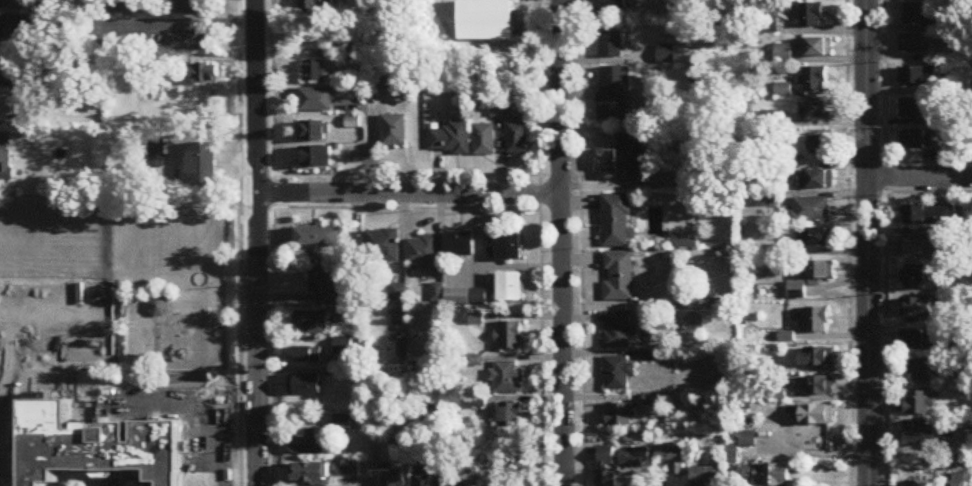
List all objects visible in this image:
building: (17, 5)
building: (616, 5)
building: (130, 7)
building: (192, 7)
building: (320, 8)
building: (812, 16)
building: (921, 16)
road: (970, 16)
building: (487, 22)
road: (180, 24)
building: (16, 27)
building: (193, 44)
building: (138, 45)
building: (612, 45)
building: (912, 45)
building: (818, 49)
building: (346, 54)
building: (318, 72)
building: (203, 74)
building: (22, 78)
building: (918, 78)
building: (814, 80)
building: (615, 95)
building: (316, 101)
building: (912, 109)
building: (814, 112)
building: (314, 132)
building: (395, 132)
building: (453, 140)
building: (486, 141)
building: (520, 141)
building: (916, 141)
building: (819, 146)
building: (316, 158)
building: (5, 159)
building: (627, 160)
building: (204, 165)
road: (920, 180)
building: (817, 181)
road: (616, 185)
road: (410, 194)
building: (771, 201)
building: (811, 210)
building: (929, 216)
building: (617, 222)
building: (317, 238)
building: (815, 238)
road: (259, 242)
road: (562, 243)
road: (868, 243)
building: (460, 245)
building: (914, 246)
building: (383, 247)
building: (510, 247)
building: (424, 254)
building: (819, 271)
building: (619, 278)
building: (924, 278)
building: (510, 288)
building: (327, 289)
road: (166, 290)
building: (797, 291)
building: (458, 298)
building: (479, 298)
building: (157, 301)
building: (916, 308)
park: (123, 312)
building: (350, 316)
building: (817, 321)
building: (312, 323)
building: (619, 334)
building: (511, 337)
building: (921, 341)
road: (98, 356)
building: (306, 357)
building: (817, 359)
road: (165, 367)
building: (922, 372)
building: (618, 375)
building: (507, 380)
building: (306, 386)
building: (821, 388)
road: (17, 396)
road: (210, 397)
building: (474, 405)
building: (919, 405)
road: (74, 406)
building: (510, 416)
building: (620, 417)
building: (814, 417)
building: (343, 424)
building: (922, 436)
road: (8, 443)
building: (310, 445)
building: (95, 452)
building: (606, 458)
road: (372, 459)
building: (634, 459)
building: (672, 461)
building: (350, 468)
building: (427, 474)
building: (312, 475)
building: (770, 476)
building: (707, 477)
building: (606, 480)
building: (958, 480)
building: (391, 481)
building: (916, 484)

